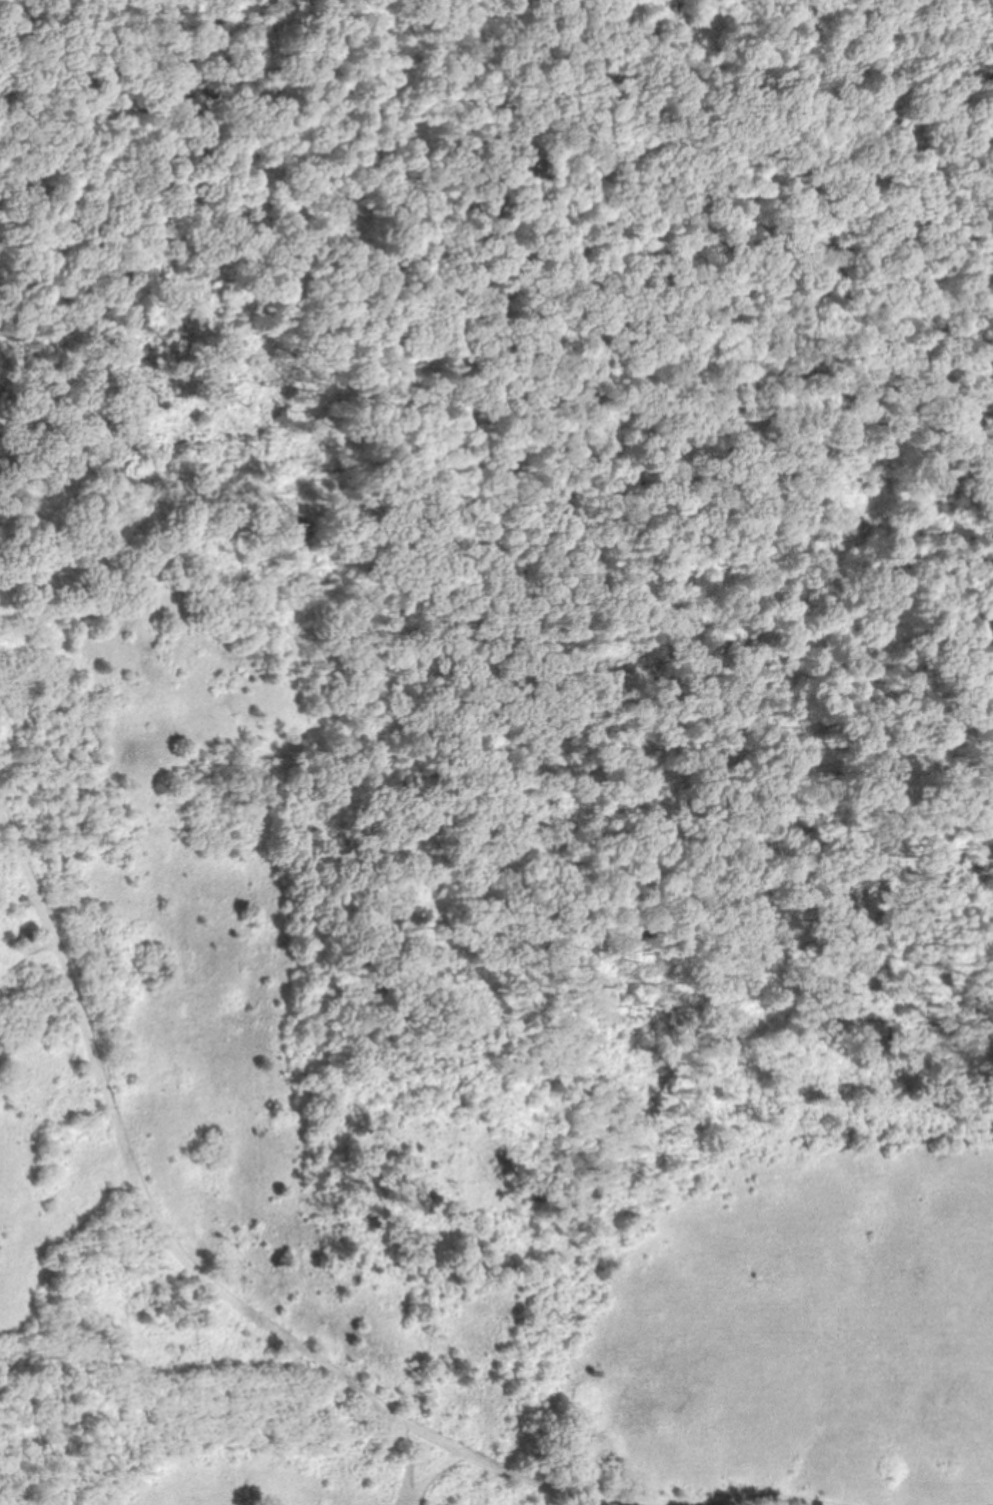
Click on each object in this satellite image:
road: (165, 158)
park: (496, 752)
road: (183, 1253)
road: (416, 1458)
road: (437, 1474)
road: (782, 1502)

